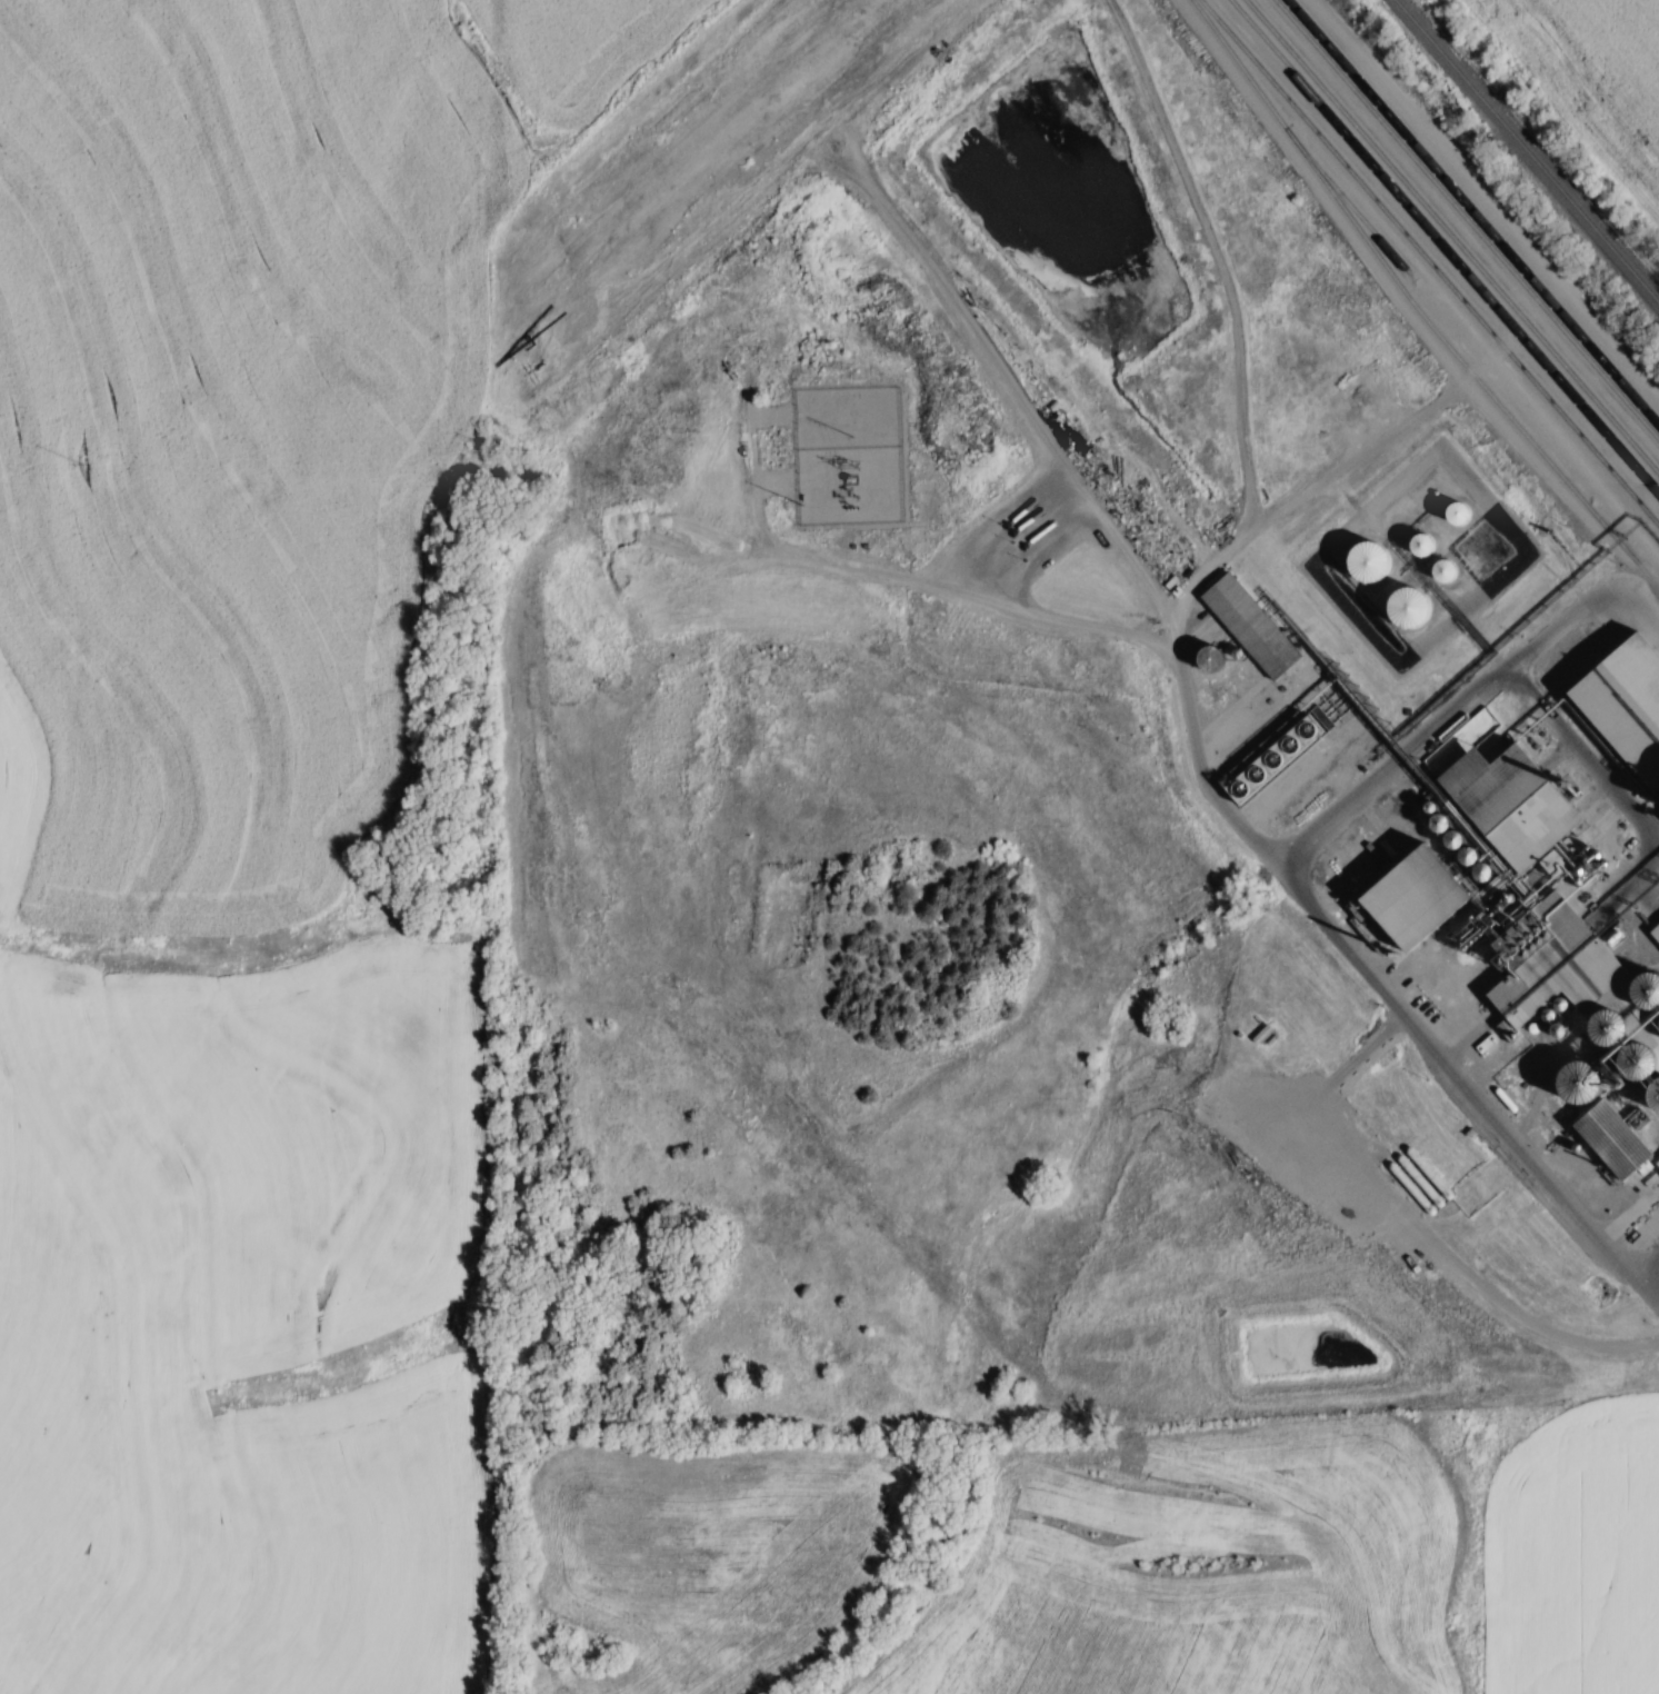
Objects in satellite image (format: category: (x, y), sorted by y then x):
railway: (1525, 153)
building: (1416, 544)
building: (1363, 561)
building: (1439, 569)
building: (1403, 608)
building: (1255, 629)
road: (1467, 706)
building: (1623, 709)
road: (1581, 760)
road: (1199, 769)
building: (1518, 883)
building: (1418, 905)
road: (1551, 955)
building: (1608, 1136)
building: (1423, 1176)
road: (1652, 1274)

